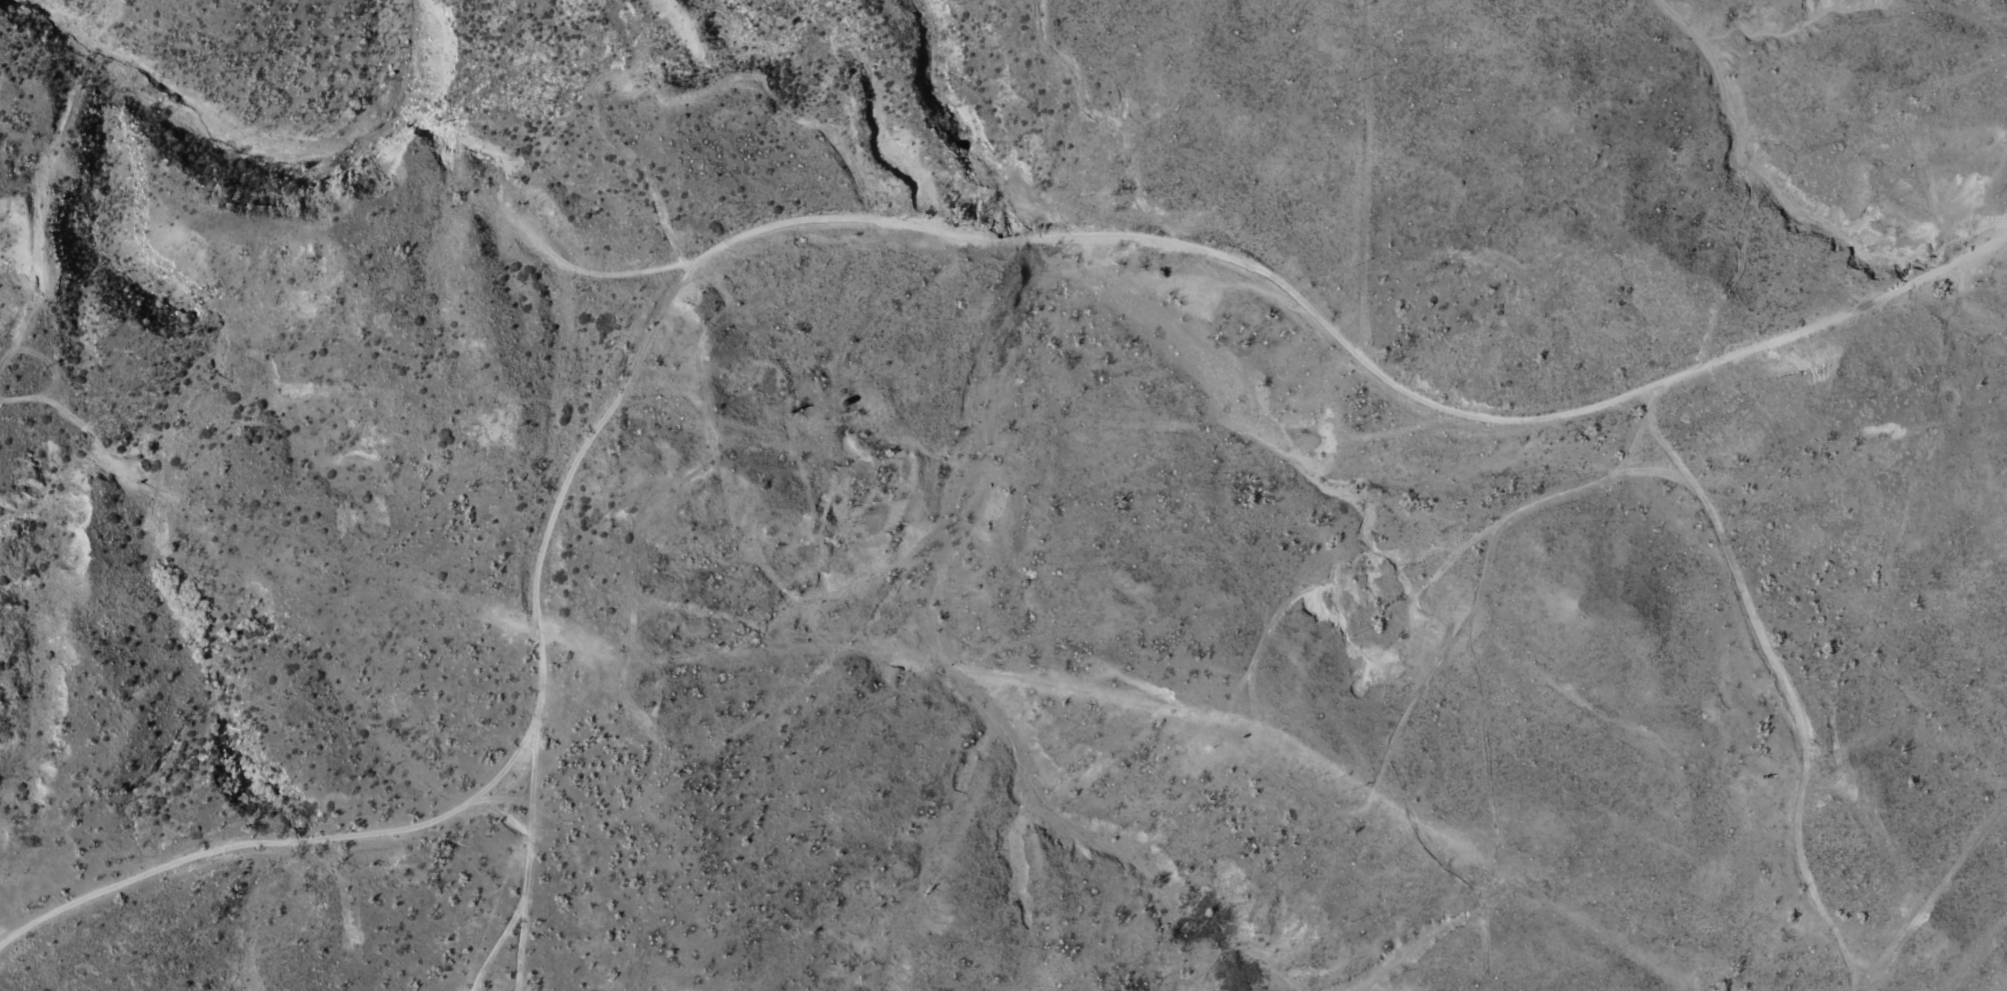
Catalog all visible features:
road: (1358, 180)
road: (693, 294)
road: (1749, 610)

